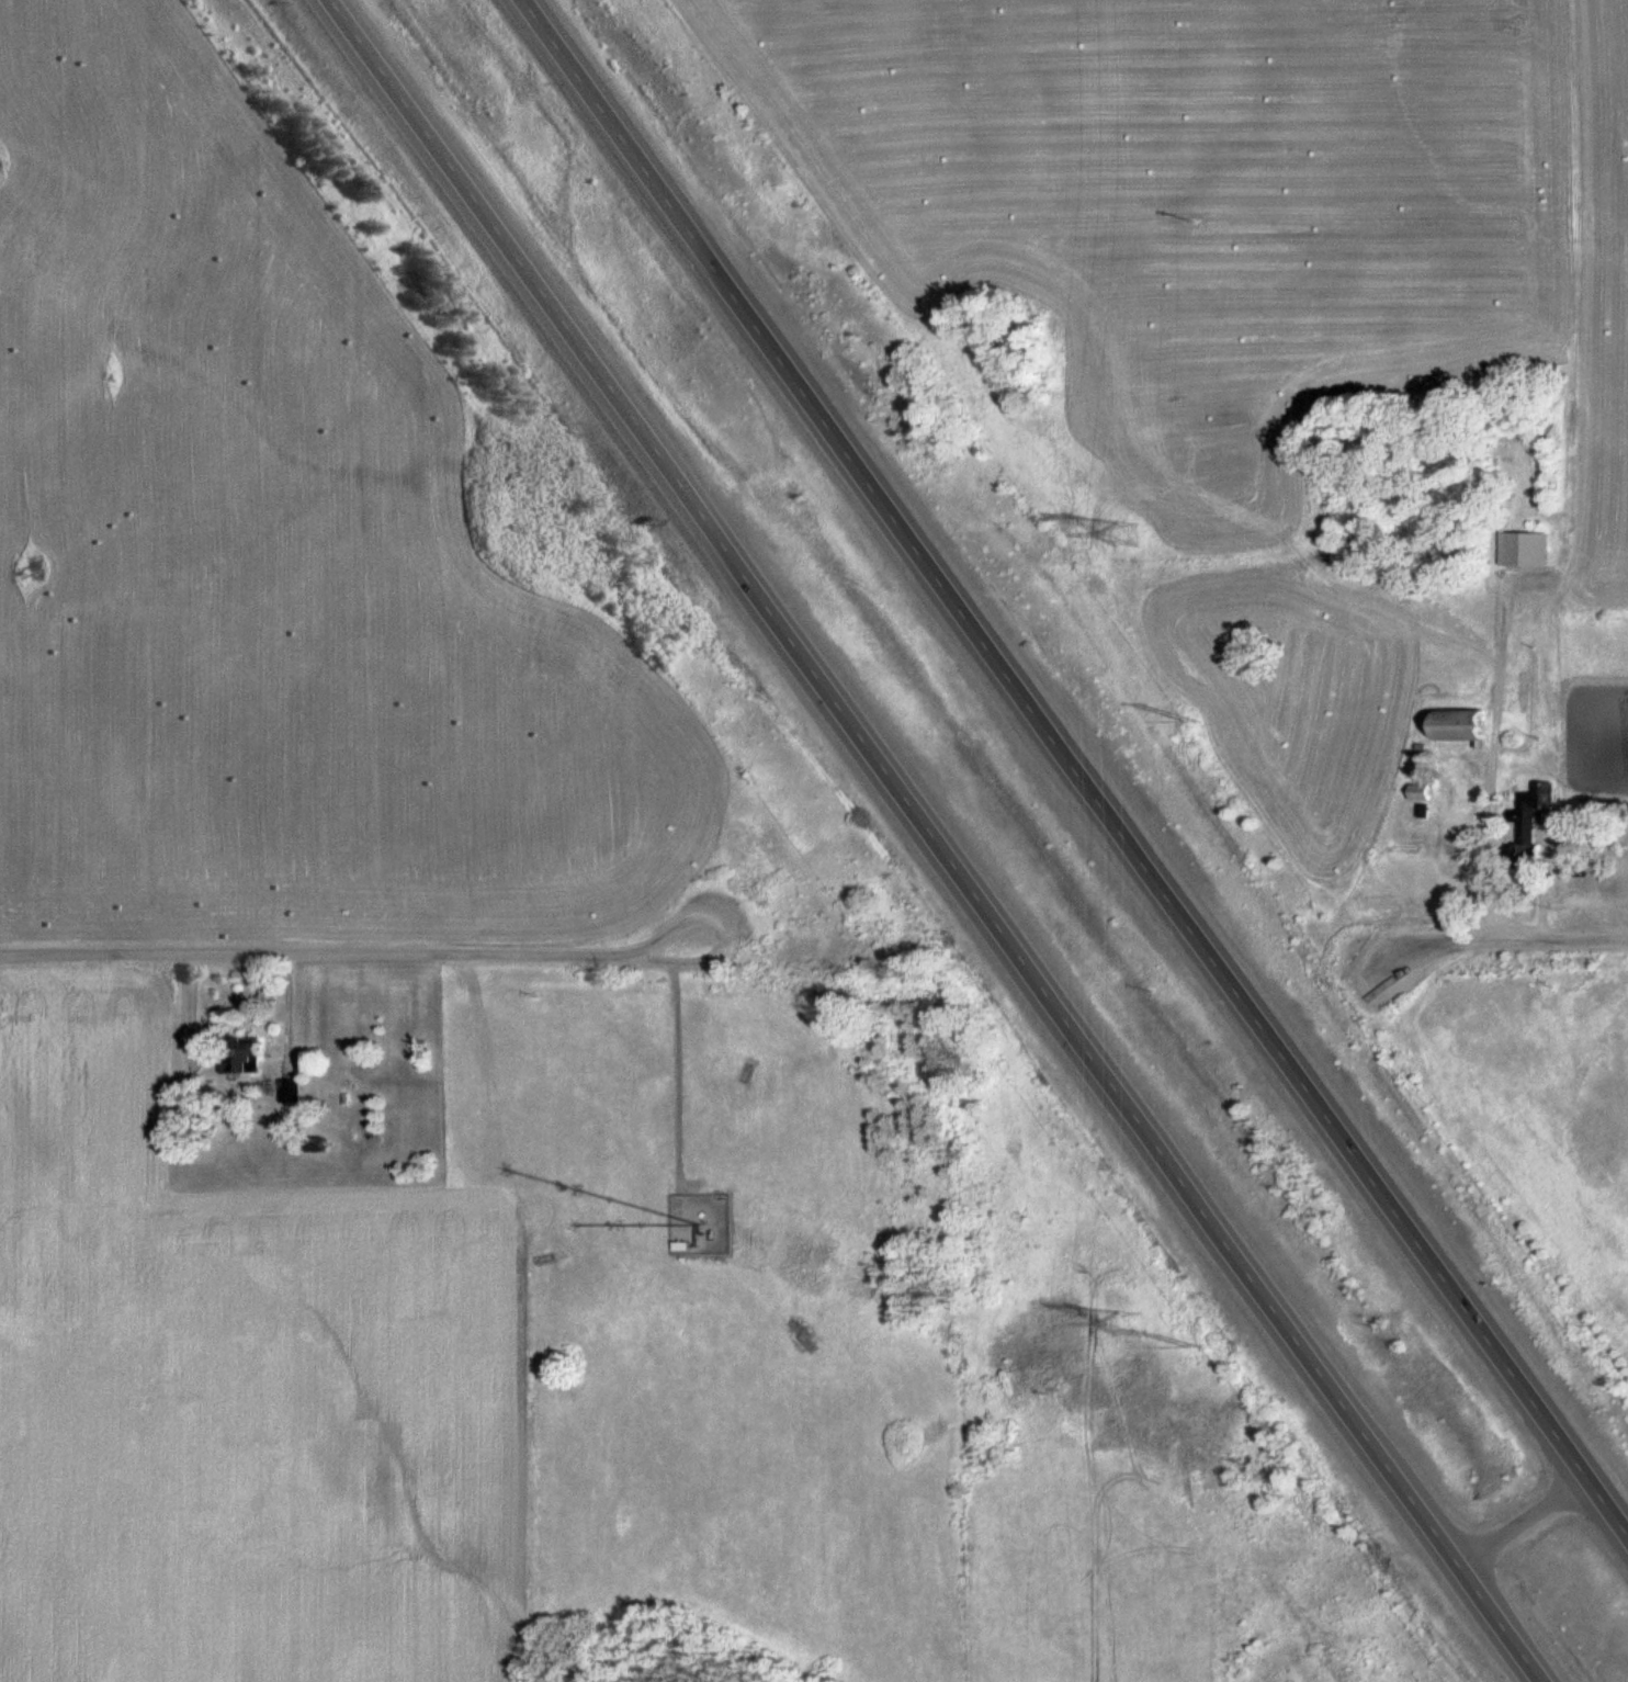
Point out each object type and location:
power tower: (1127, 534)
building: (1529, 548)
power tower: (1196, 720)
building: (1472, 724)
road: (1074, 768)
building: (1425, 790)
building: (1539, 823)
road: (942, 840)
road: (1511, 941)
road: (353, 955)
building: (248, 1056)
power tower: (1129, 1321)
power tower: (1195, 1347)
road: (1526, 1523)

